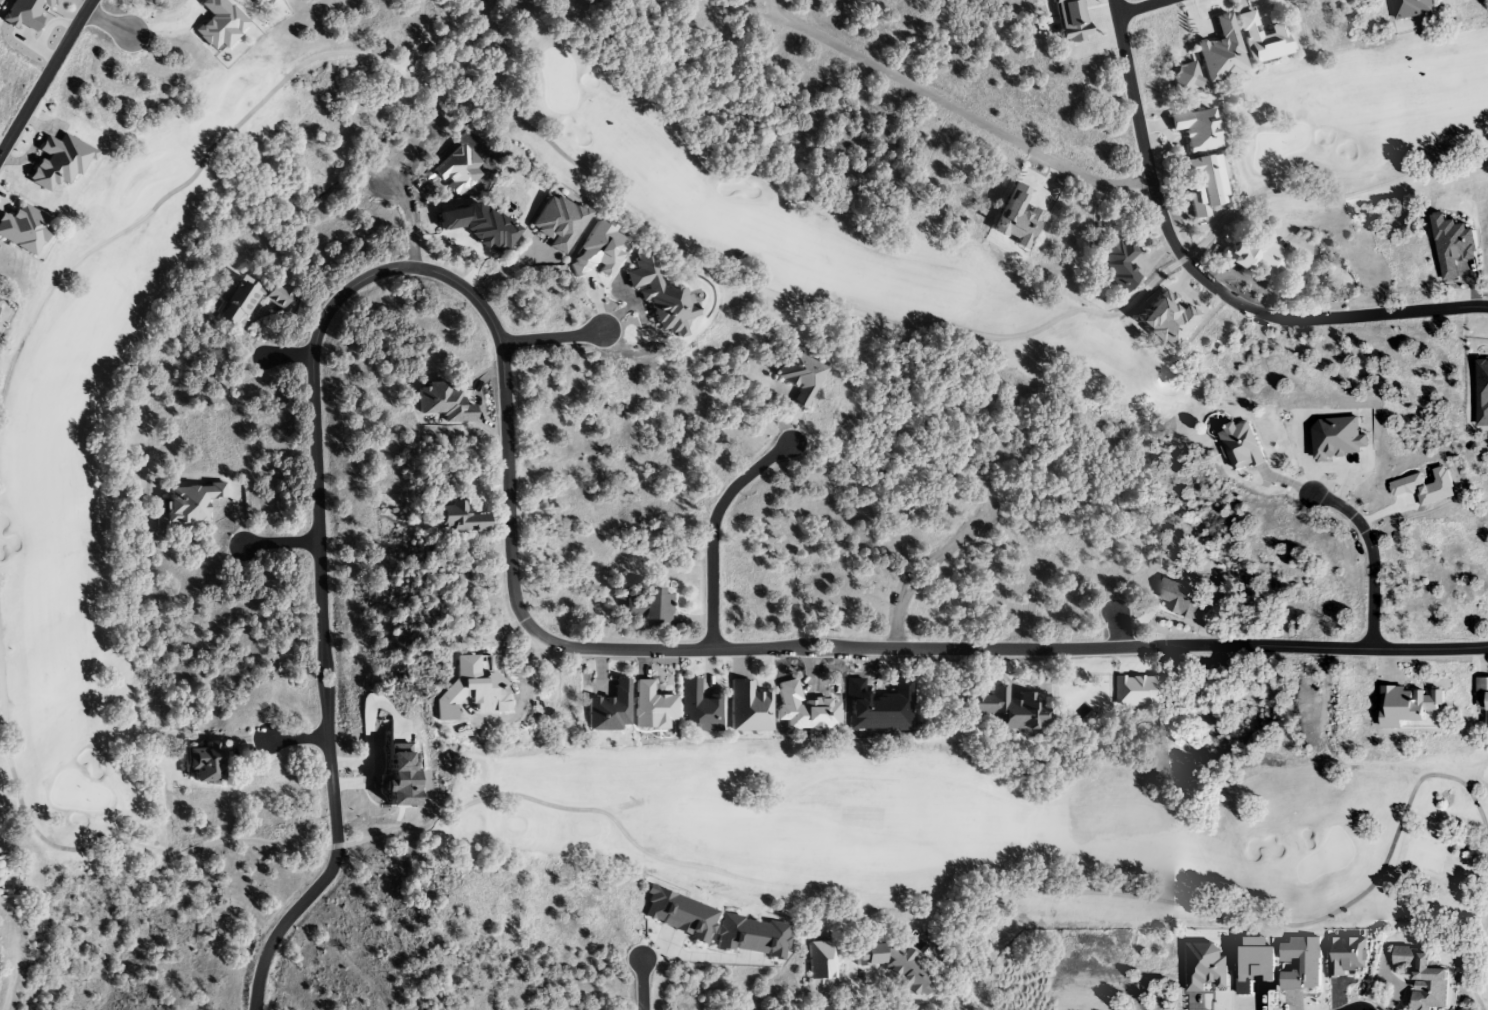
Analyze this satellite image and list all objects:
road: (1139, 6)
building: (1410, 9)
road: (109, 21)
building: (1260, 40)
building: (1220, 53)
road: (46, 77)
road: (949, 107)
building: (1194, 130)
building: (1200, 184)
road: (413, 213)
building: (556, 222)
building: (24, 230)
building: (1257, 260)
building: (1117, 266)
road: (1202, 277)
building: (245, 300)
building: (684, 302)
road: (551, 336)
road: (290, 354)
building: (798, 378)
building: (1241, 447)
road: (508, 492)
building: (189, 503)
building: (451, 519)
road: (714, 527)
road: (281, 542)
road: (1370, 555)
road: (922, 567)
park: (70, 602)
building: (650, 609)
road: (1117, 629)
building: (1482, 698)
building: (748, 708)
building: (699, 709)
building: (609, 710)
building: (1005, 710)
road: (299, 739)
building: (203, 762)
building: (677, 914)
building: (750, 936)
building: (820, 959)
building: (1421, 978)
road: (642, 983)

